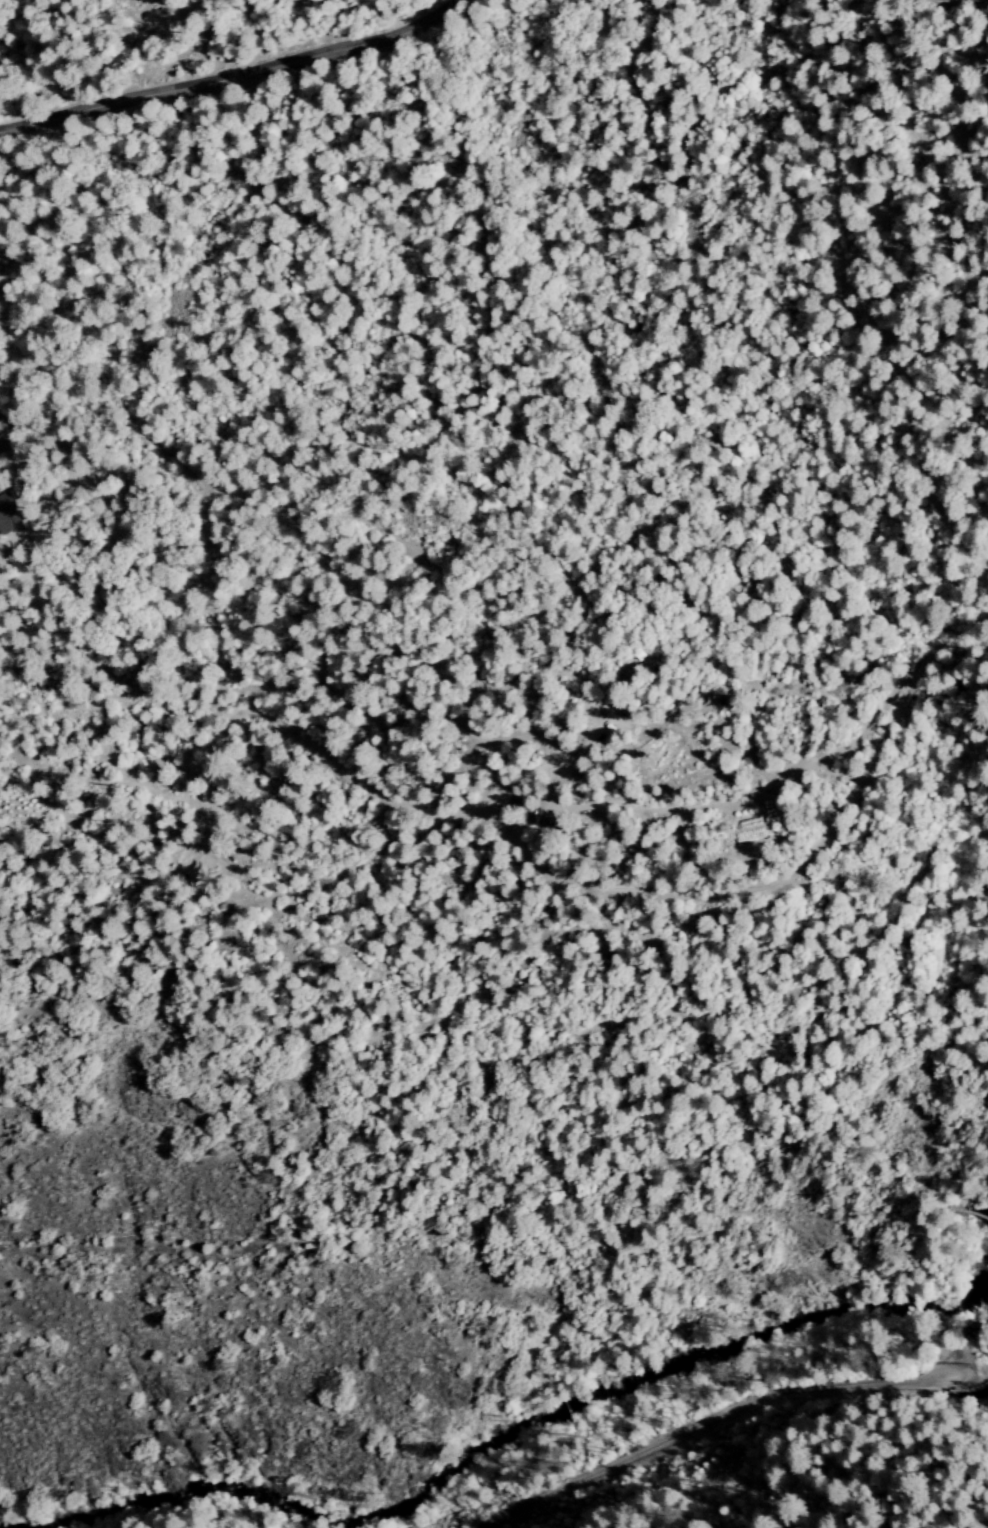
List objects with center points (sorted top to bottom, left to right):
road: (231, 73)
road: (963, 638)
dam: (967, 1212)
dam: (969, 1389)

